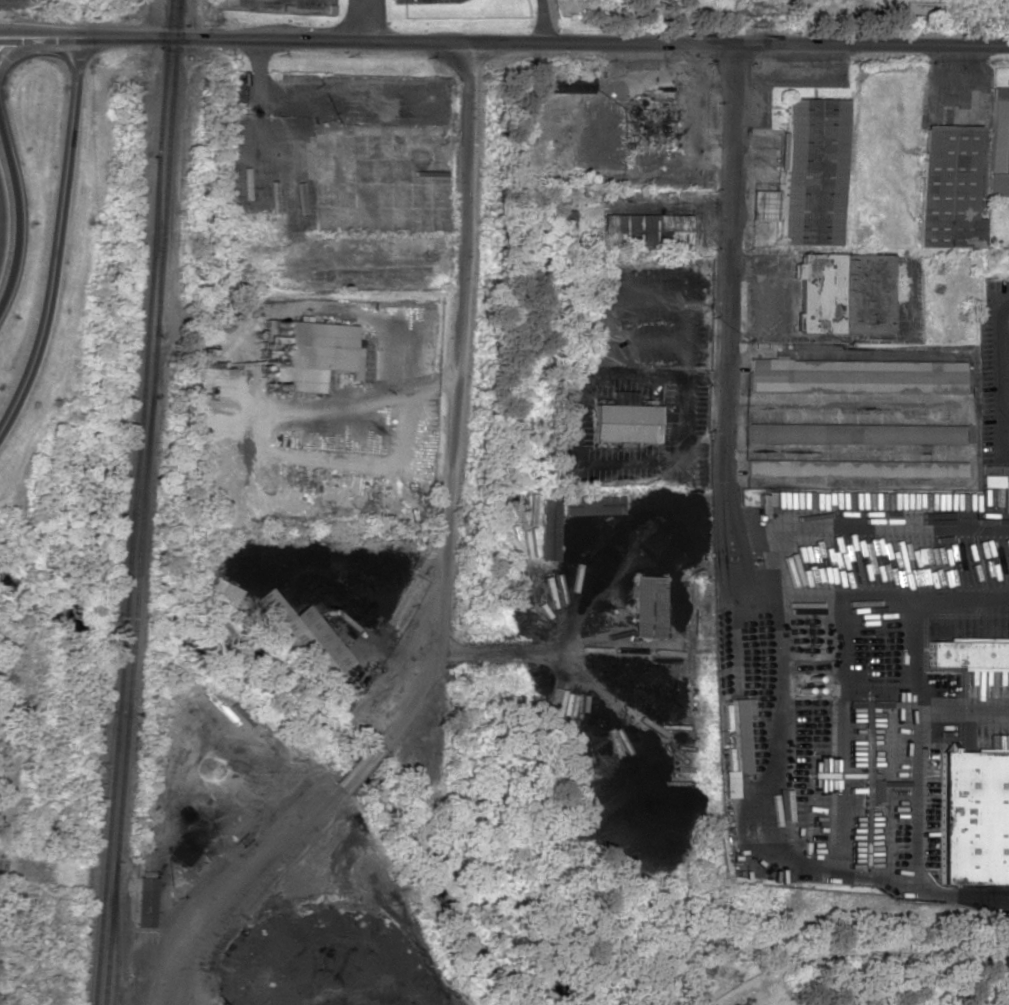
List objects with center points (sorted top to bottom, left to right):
road: (6, 35)
road: (30, 38)
road: (6, 39)
road: (528, 42)
road: (21, 54)
railway: (164, 77)
building: (568, 84)
building: (999, 142)
railway: (167, 167)
building: (811, 171)
building: (951, 188)
building: (762, 204)
road: (20, 216)
building: (558, 224)
building: (642, 230)
road: (59, 235)
road: (1, 238)
railway: (157, 245)
road: (727, 250)
building: (847, 293)
road: (458, 317)
road: (1001, 354)
building: (314, 355)
railway: (152, 365)
railway: (143, 367)
building: (857, 376)
road: (1005, 412)
building: (624, 420)
building: (856, 434)
road: (1000, 440)
building: (856, 468)
building: (991, 481)
railway: (139, 487)
building: (546, 530)
building: (221, 592)
building: (646, 607)
building: (304, 638)
building: (966, 654)
railway: (128, 700)
building: (733, 735)
railway: (112, 792)
road: (335, 793)
building: (972, 818)
building: (144, 902)
railway: (116, 933)

